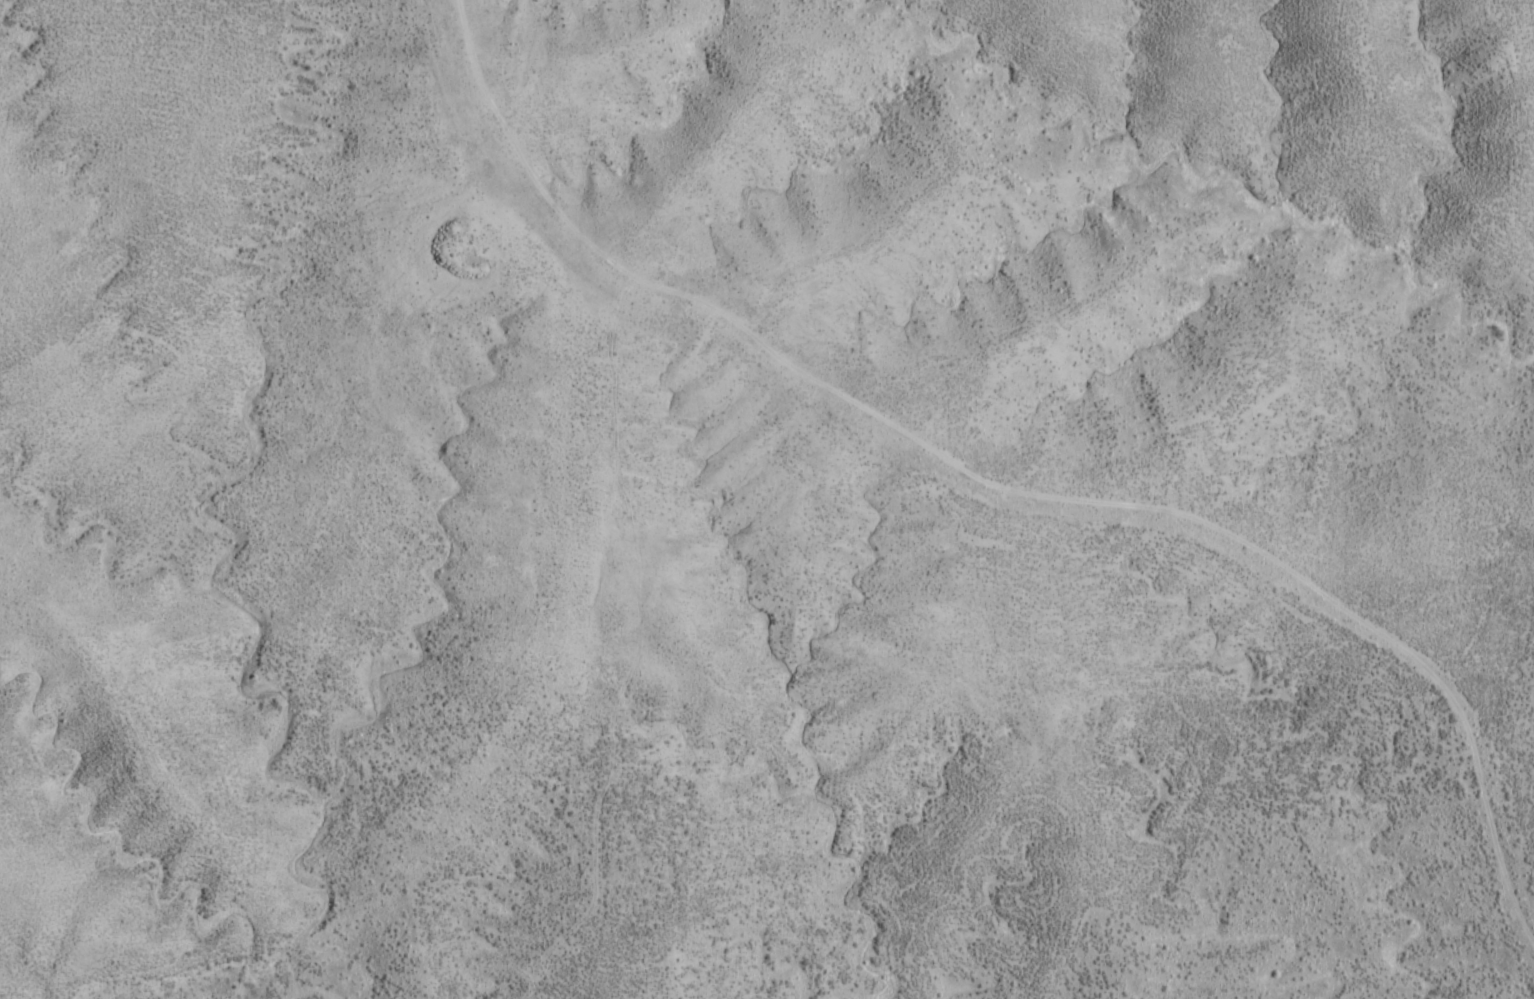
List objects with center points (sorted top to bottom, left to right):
road: (213, 0)
road: (113, 80)

